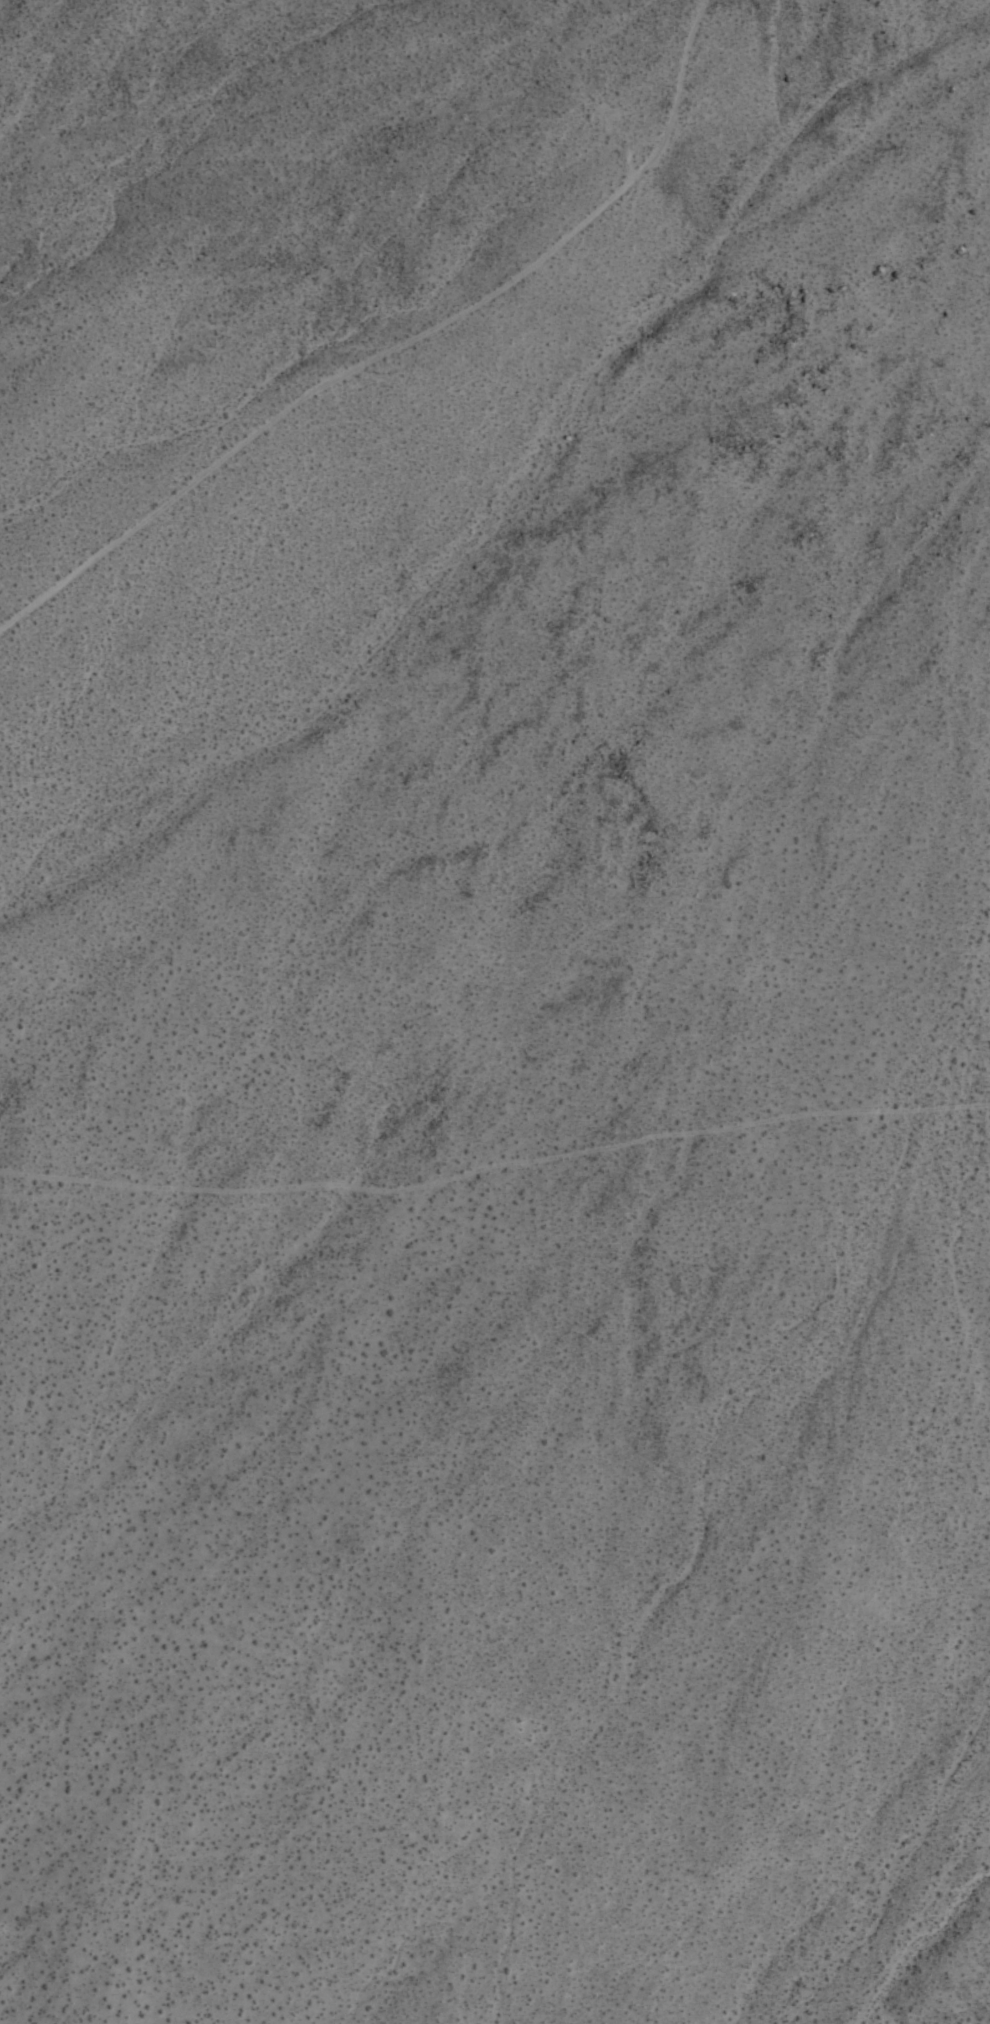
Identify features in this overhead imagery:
road: (393, 345)
road: (495, 1164)

